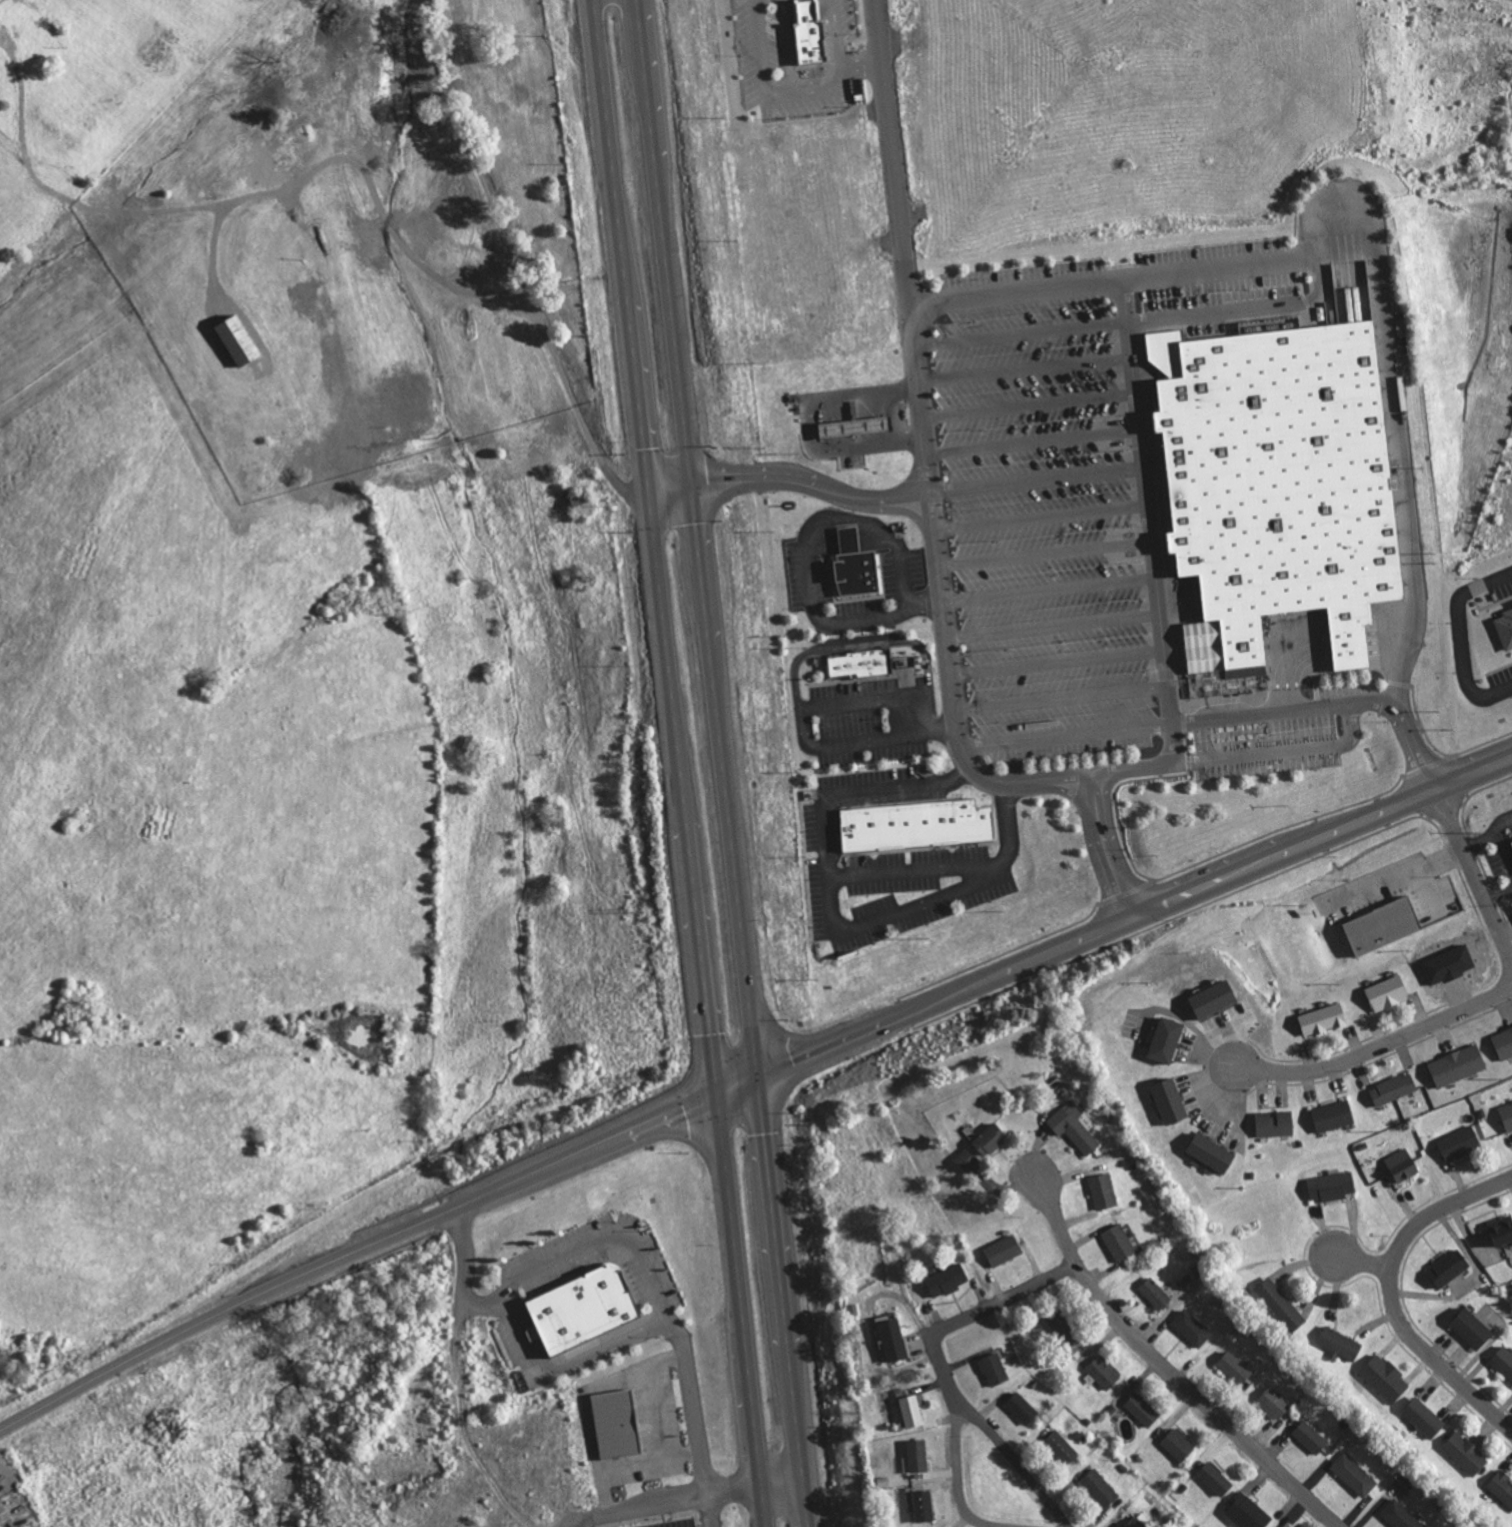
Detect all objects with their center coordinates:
building: (812, 32)
road: (861, 63)
road: (801, 92)
road: (1343, 197)
road: (1106, 278)
road: (1252, 304)
road: (1018, 331)
building: (239, 339)
road: (1022, 369)
road: (1026, 404)
building: (849, 424)
road: (1030, 440)
road: (788, 477)
road: (1034, 478)
building: (1276, 481)
traffic signals: (692, 482)
traffic signals: (647, 490)
road: (927, 490)
road: (1038, 515)
road: (1146, 519)
road: (1406, 527)
road: (698, 537)
road: (653, 547)
road: (1042, 551)
road: (806, 552)
building: (851, 564)
road: (1046, 587)
road: (1051, 624)
building: (1506, 628)
road: (1461, 636)
road: (854, 638)
road: (1055, 660)
building: (857, 661)
road: (1059, 697)
road: (1284, 708)
road: (802, 718)
road: (1064, 734)
road: (1281, 749)
building: (914, 823)
road: (1103, 846)
road: (910, 869)
road: (1473, 876)
road: (1134, 916)
road: (835, 917)
building: (1382, 926)
building: (1388, 993)
building: (1324, 1019)
building: (1167, 1039)
building: (1504, 1043)
road: (1380, 1045)
building: (1458, 1065)
road: (736, 1085)
building: (1394, 1089)
building: (1171, 1101)
building: (1334, 1115)
building: (1507, 1115)
building: (1276, 1123)
building: (1075, 1126)
building: (991, 1139)
building: (1460, 1143)
building: (1213, 1154)
building: (966, 1159)
building: (1403, 1165)
building: (1332, 1186)
building: (1103, 1191)
building: (1502, 1230)
building: (1120, 1243)
building: (1004, 1250)
road: (352, 1251)
road: (551, 1257)
road: (1355, 1258)
building: (1449, 1267)
road: (1050, 1275)
building: (948, 1280)
building: (1156, 1293)
road: (1390, 1293)
road: (783, 1301)
building: (1281, 1304)
building: (584, 1309)
road: (739, 1311)
road: (949, 1324)
building: (1061, 1326)
building: (1192, 1328)
building: (1472, 1329)
building: (894, 1340)
building: (1340, 1343)
road: (671, 1360)
building: (1503, 1362)
road: (574, 1365)
road: (1166, 1365)
building: (1235, 1367)
building: (995, 1369)
building: (1103, 1372)
building: (1385, 1378)
road: (587, 1400)
building: (1275, 1403)
building: (1022, 1408)
building: (1143, 1410)
building: (912, 1411)
building: (1424, 1418)
building: (617, 1424)
building: (1311, 1437)
building: (1178, 1444)
building: (1061, 1447)
building: (1466, 1453)
building: (918, 1455)
road: (1013, 1459)
road: (649, 1460)
road: (957, 1474)
building: (1354, 1475)
building: (1215, 1479)
building: (1502, 1487)
road: (758, 1488)
building: (1100, 1488)
road: (642, 1504)
building: (923, 1506)
road: (712, 1509)
building: (1247, 1512)
building: (1400, 1515)
building: (1139, 1521)

